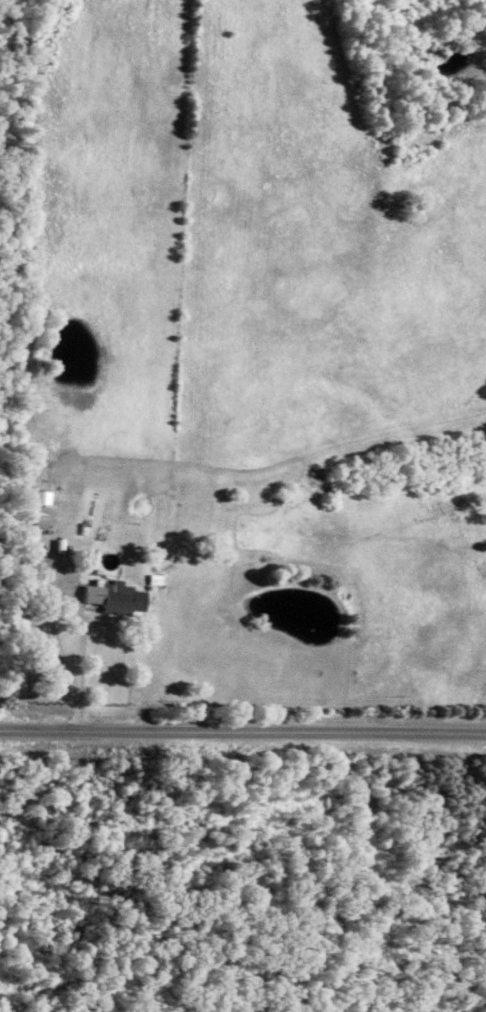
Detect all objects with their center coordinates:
building: (123, 597)
road: (84, 664)
road: (243, 731)

